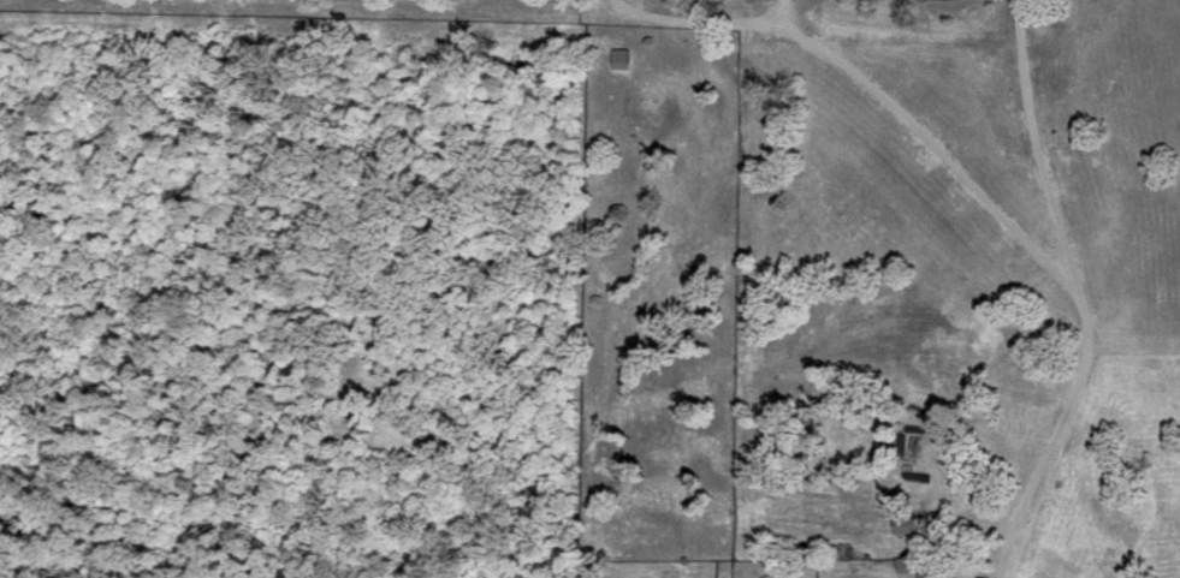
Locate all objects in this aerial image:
building: (624, 56)
road: (924, 139)
road: (1036, 145)
road: (1055, 434)
building: (915, 523)

